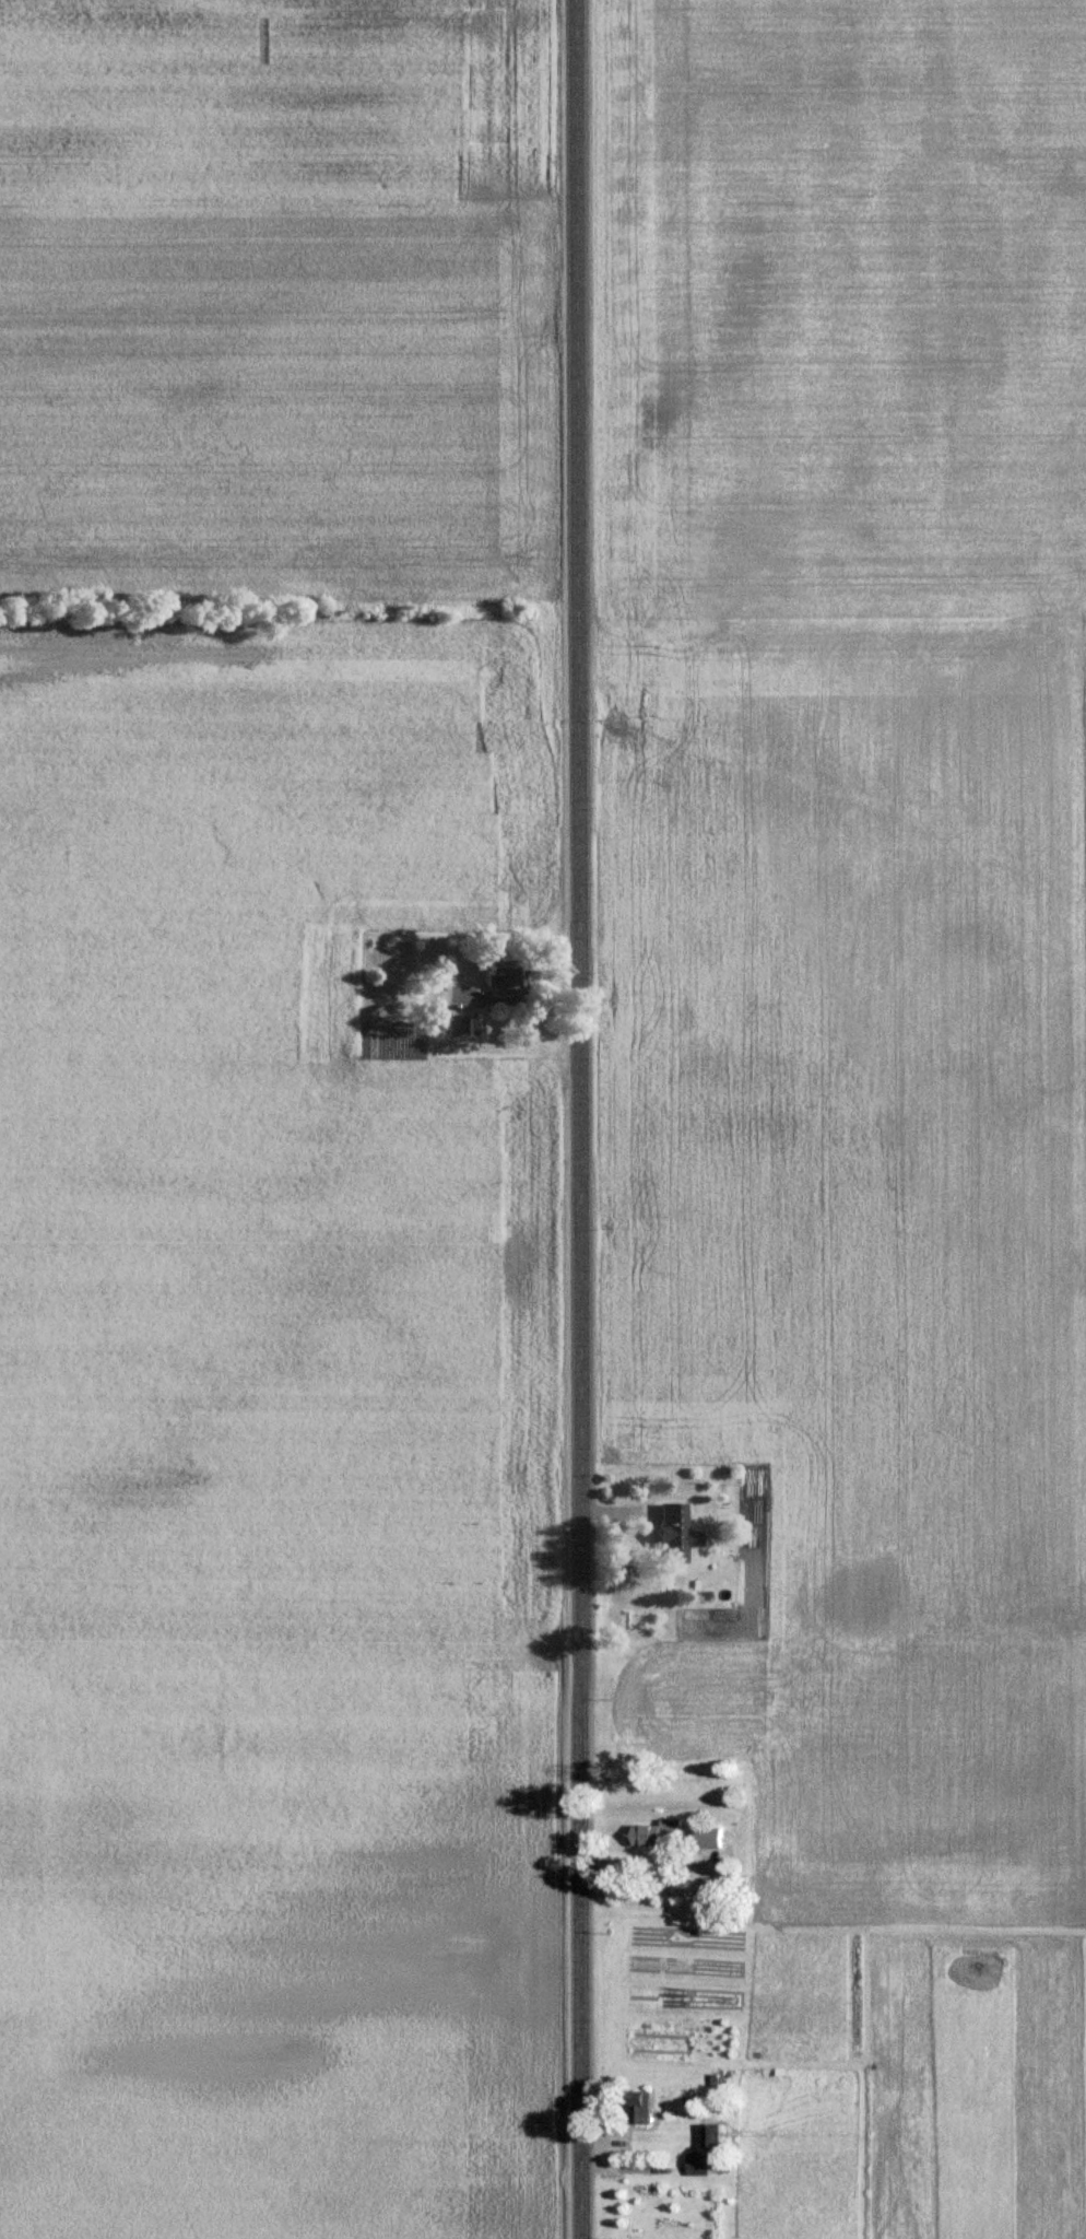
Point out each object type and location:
building: (500, 975)
building: (463, 1025)
road: (579, 1119)
building: (665, 1532)
building: (656, 1834)
building: (708, 1838)
road: (700, 1874)
building: (636, 2108)
building: (696, 2165)
road: (1069, 2193)

